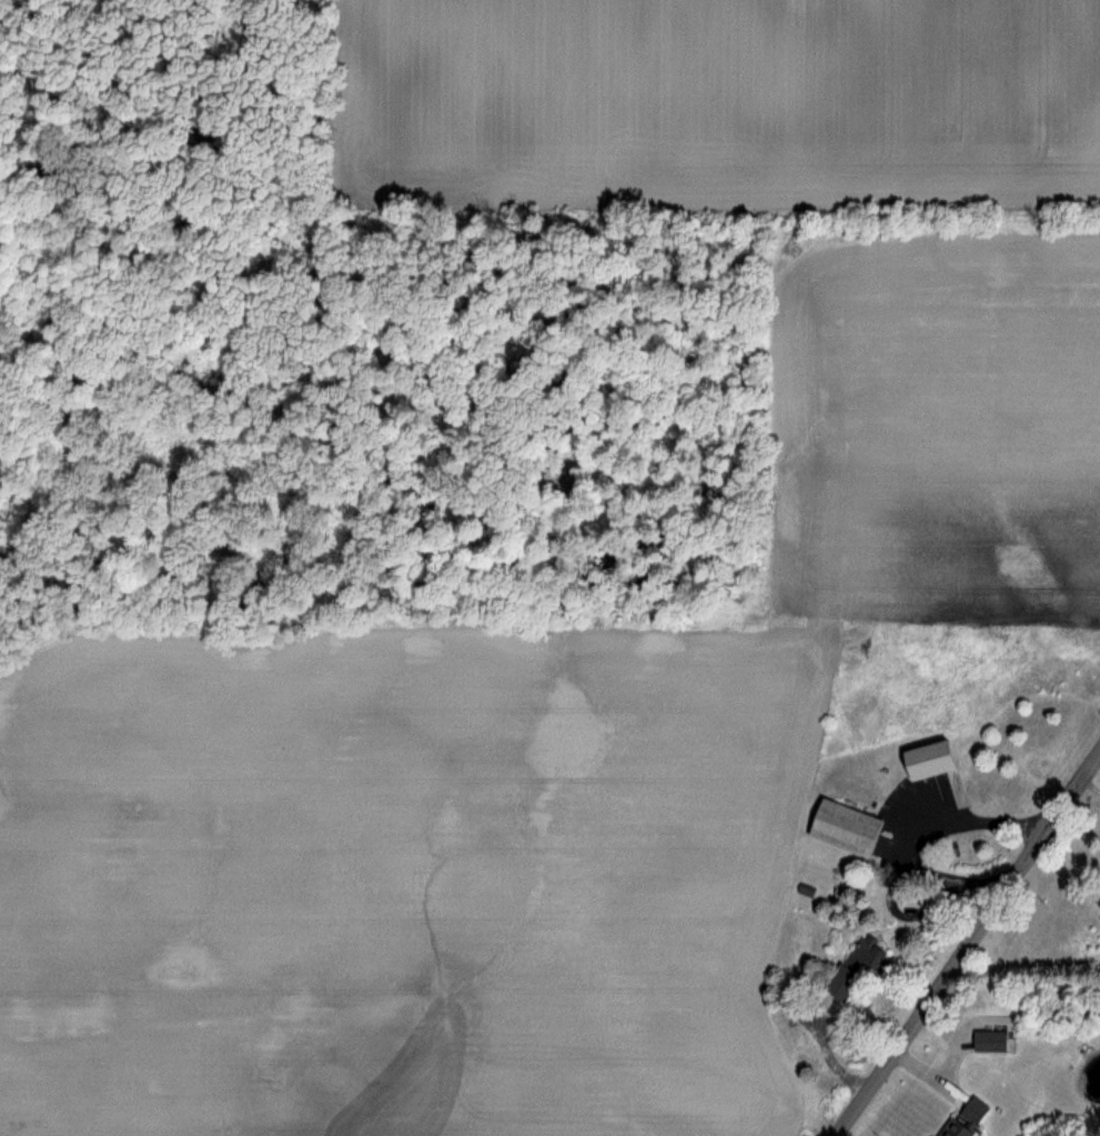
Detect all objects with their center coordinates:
building: (925, 758)
building: (841, 827)
road: (911, 828)
road: (970, 947)
building: (866, 954)
building: (838, 983)
building: (989, 1041)
building: (963, 1117)

